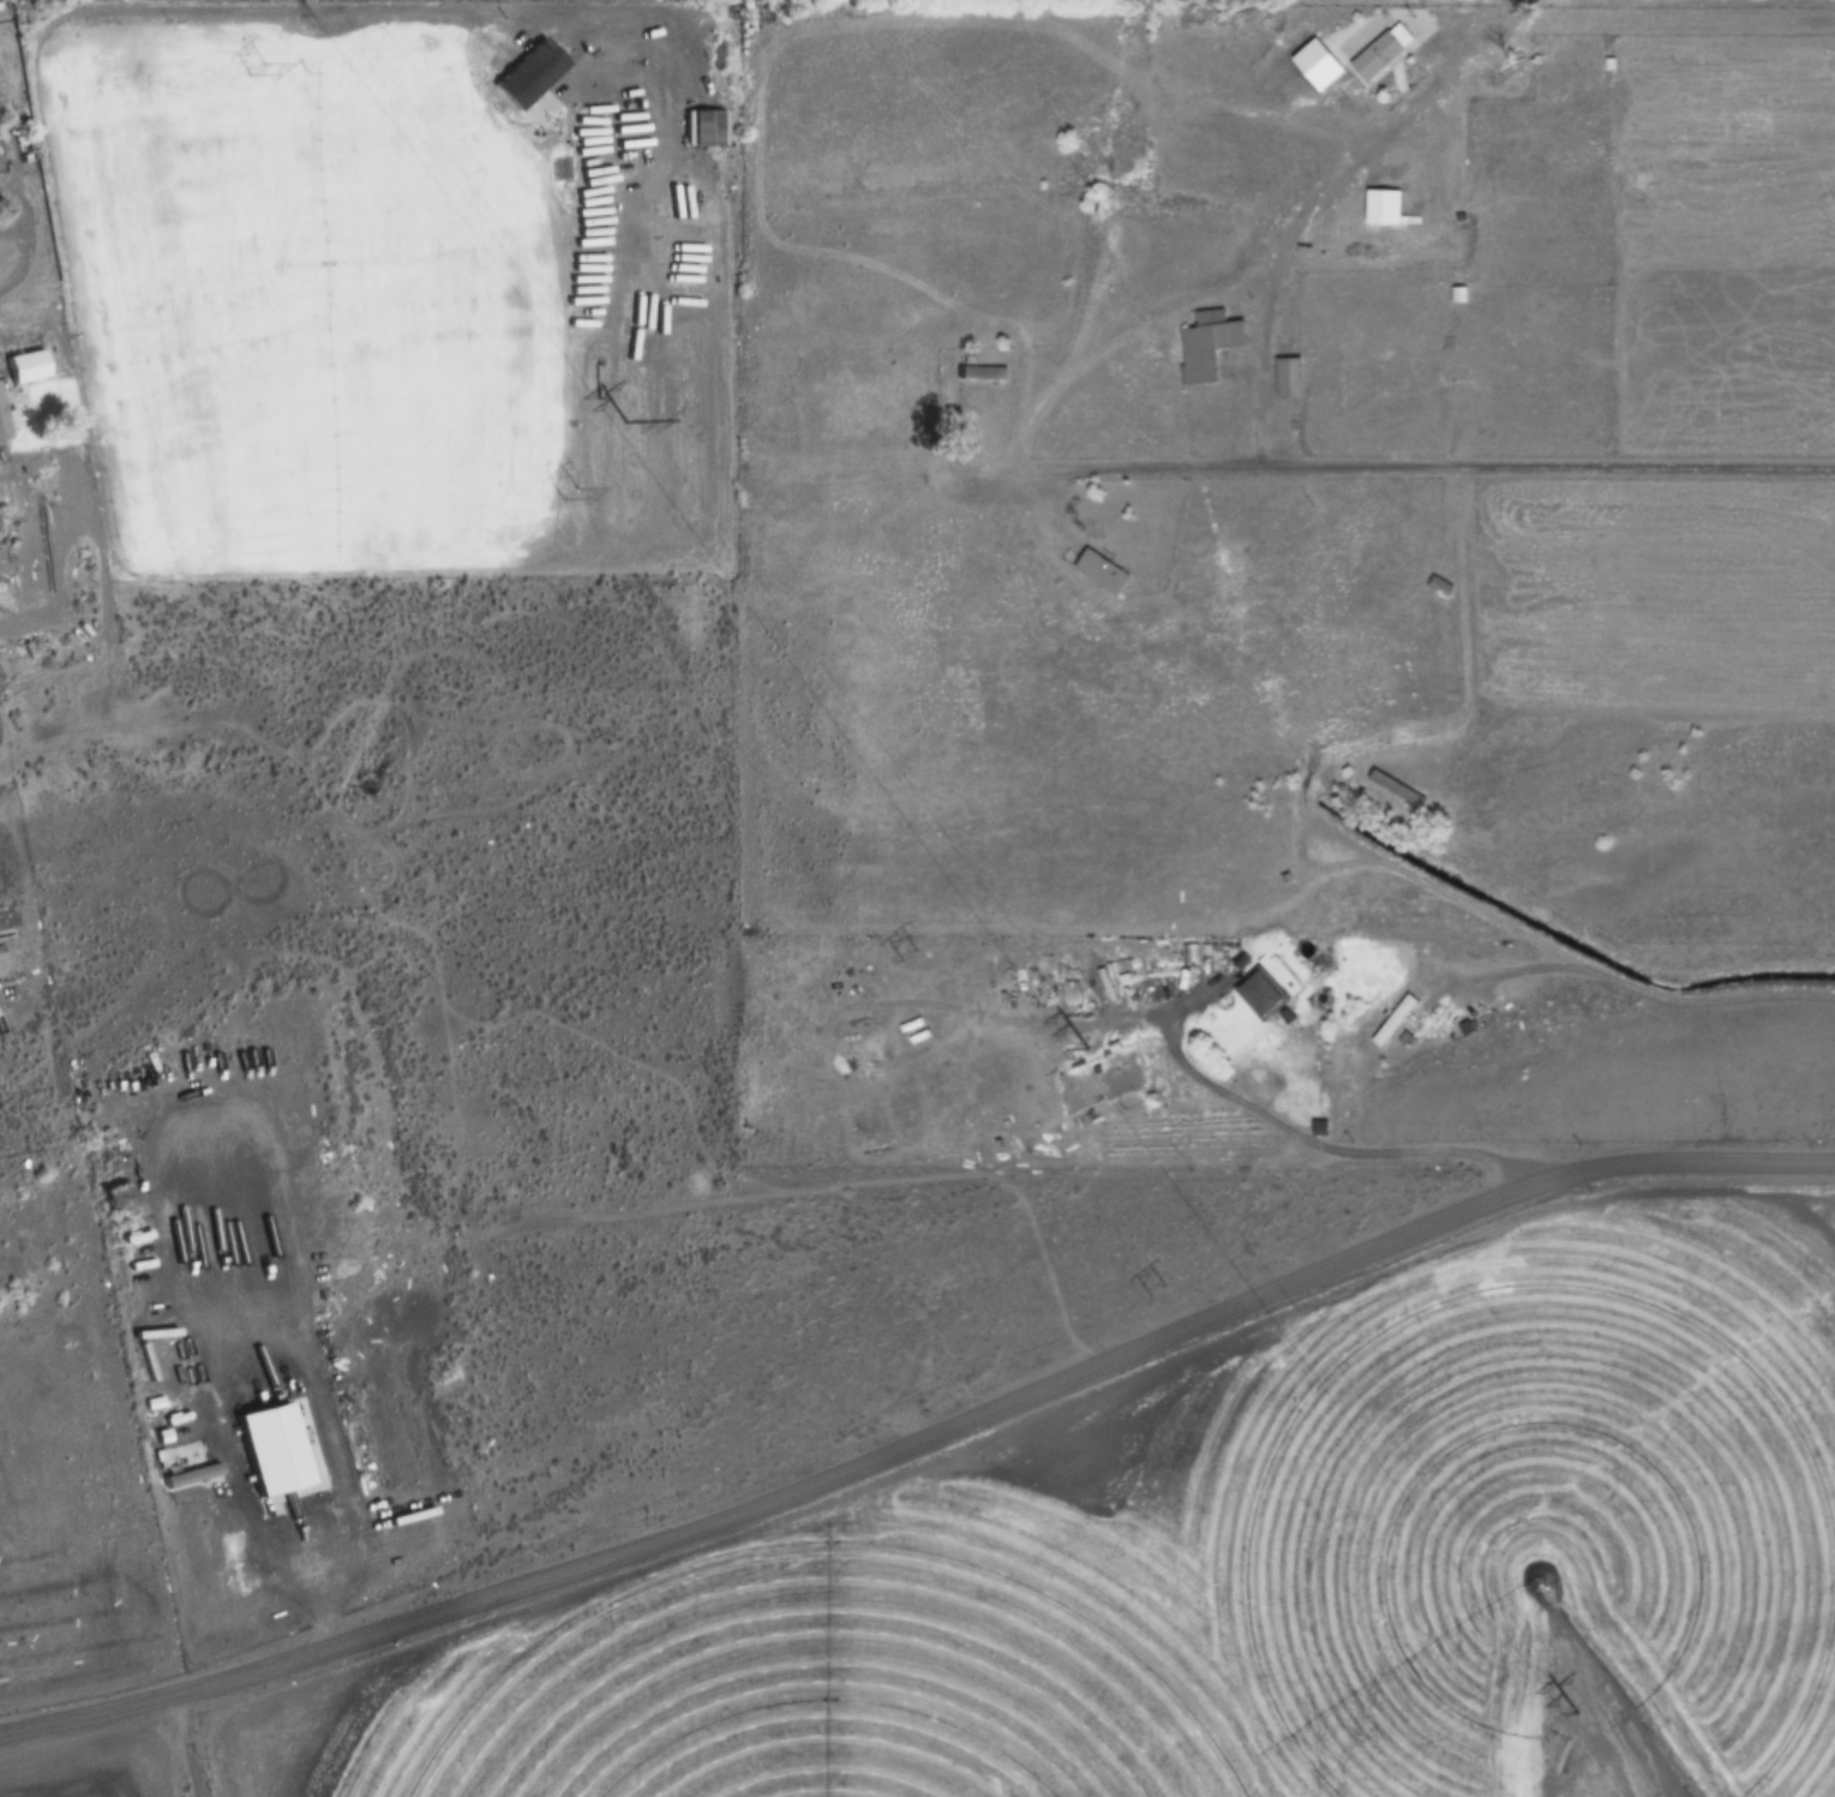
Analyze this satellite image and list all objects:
building: (1369, 48)
power tower: (262, 68)
building: (1380, 206)
crop: (403, 300)
building: (1203, 342)
building: (24, 366)
building: (979, 373)
building: (1291, 376)
building: (1392, 411)
building: (0, 418)
power tower: (622, 423)
road: (1522, 462)
power tower: (574, 491)
building: (1099, 573)
building: (1438, 586)
road: (1468, 609)
building: (1395, 790)
road: (1533, 953)
power tower: (907, 954)
building: (1392, 1020)
power tower: (1072, 1048)
road: (1237, 1077)
road: (1396, 1154)
power tower: (1171, 1286)
road: (922, 1442)
power tower: (1572, 1715)

